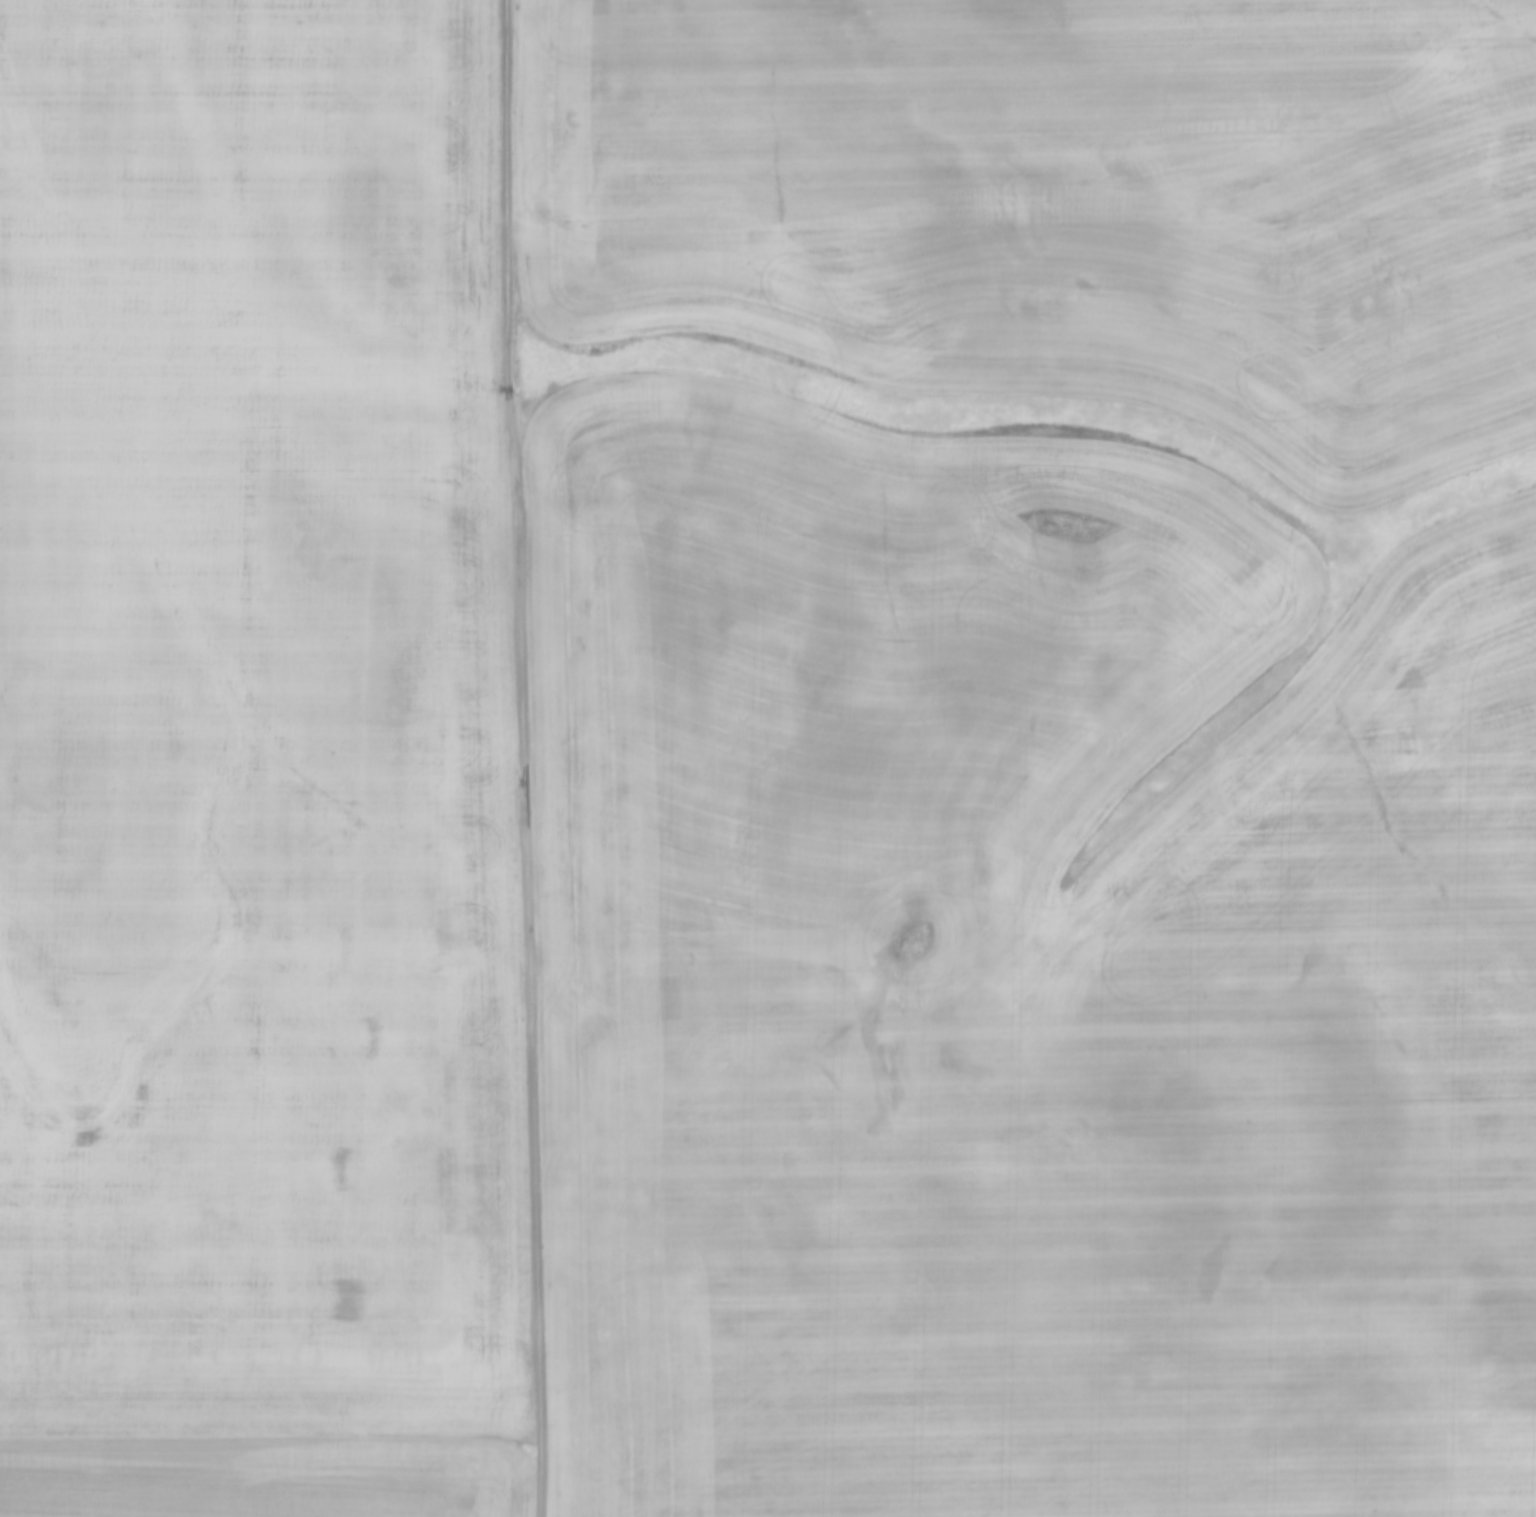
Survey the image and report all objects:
road: (525, 758)

